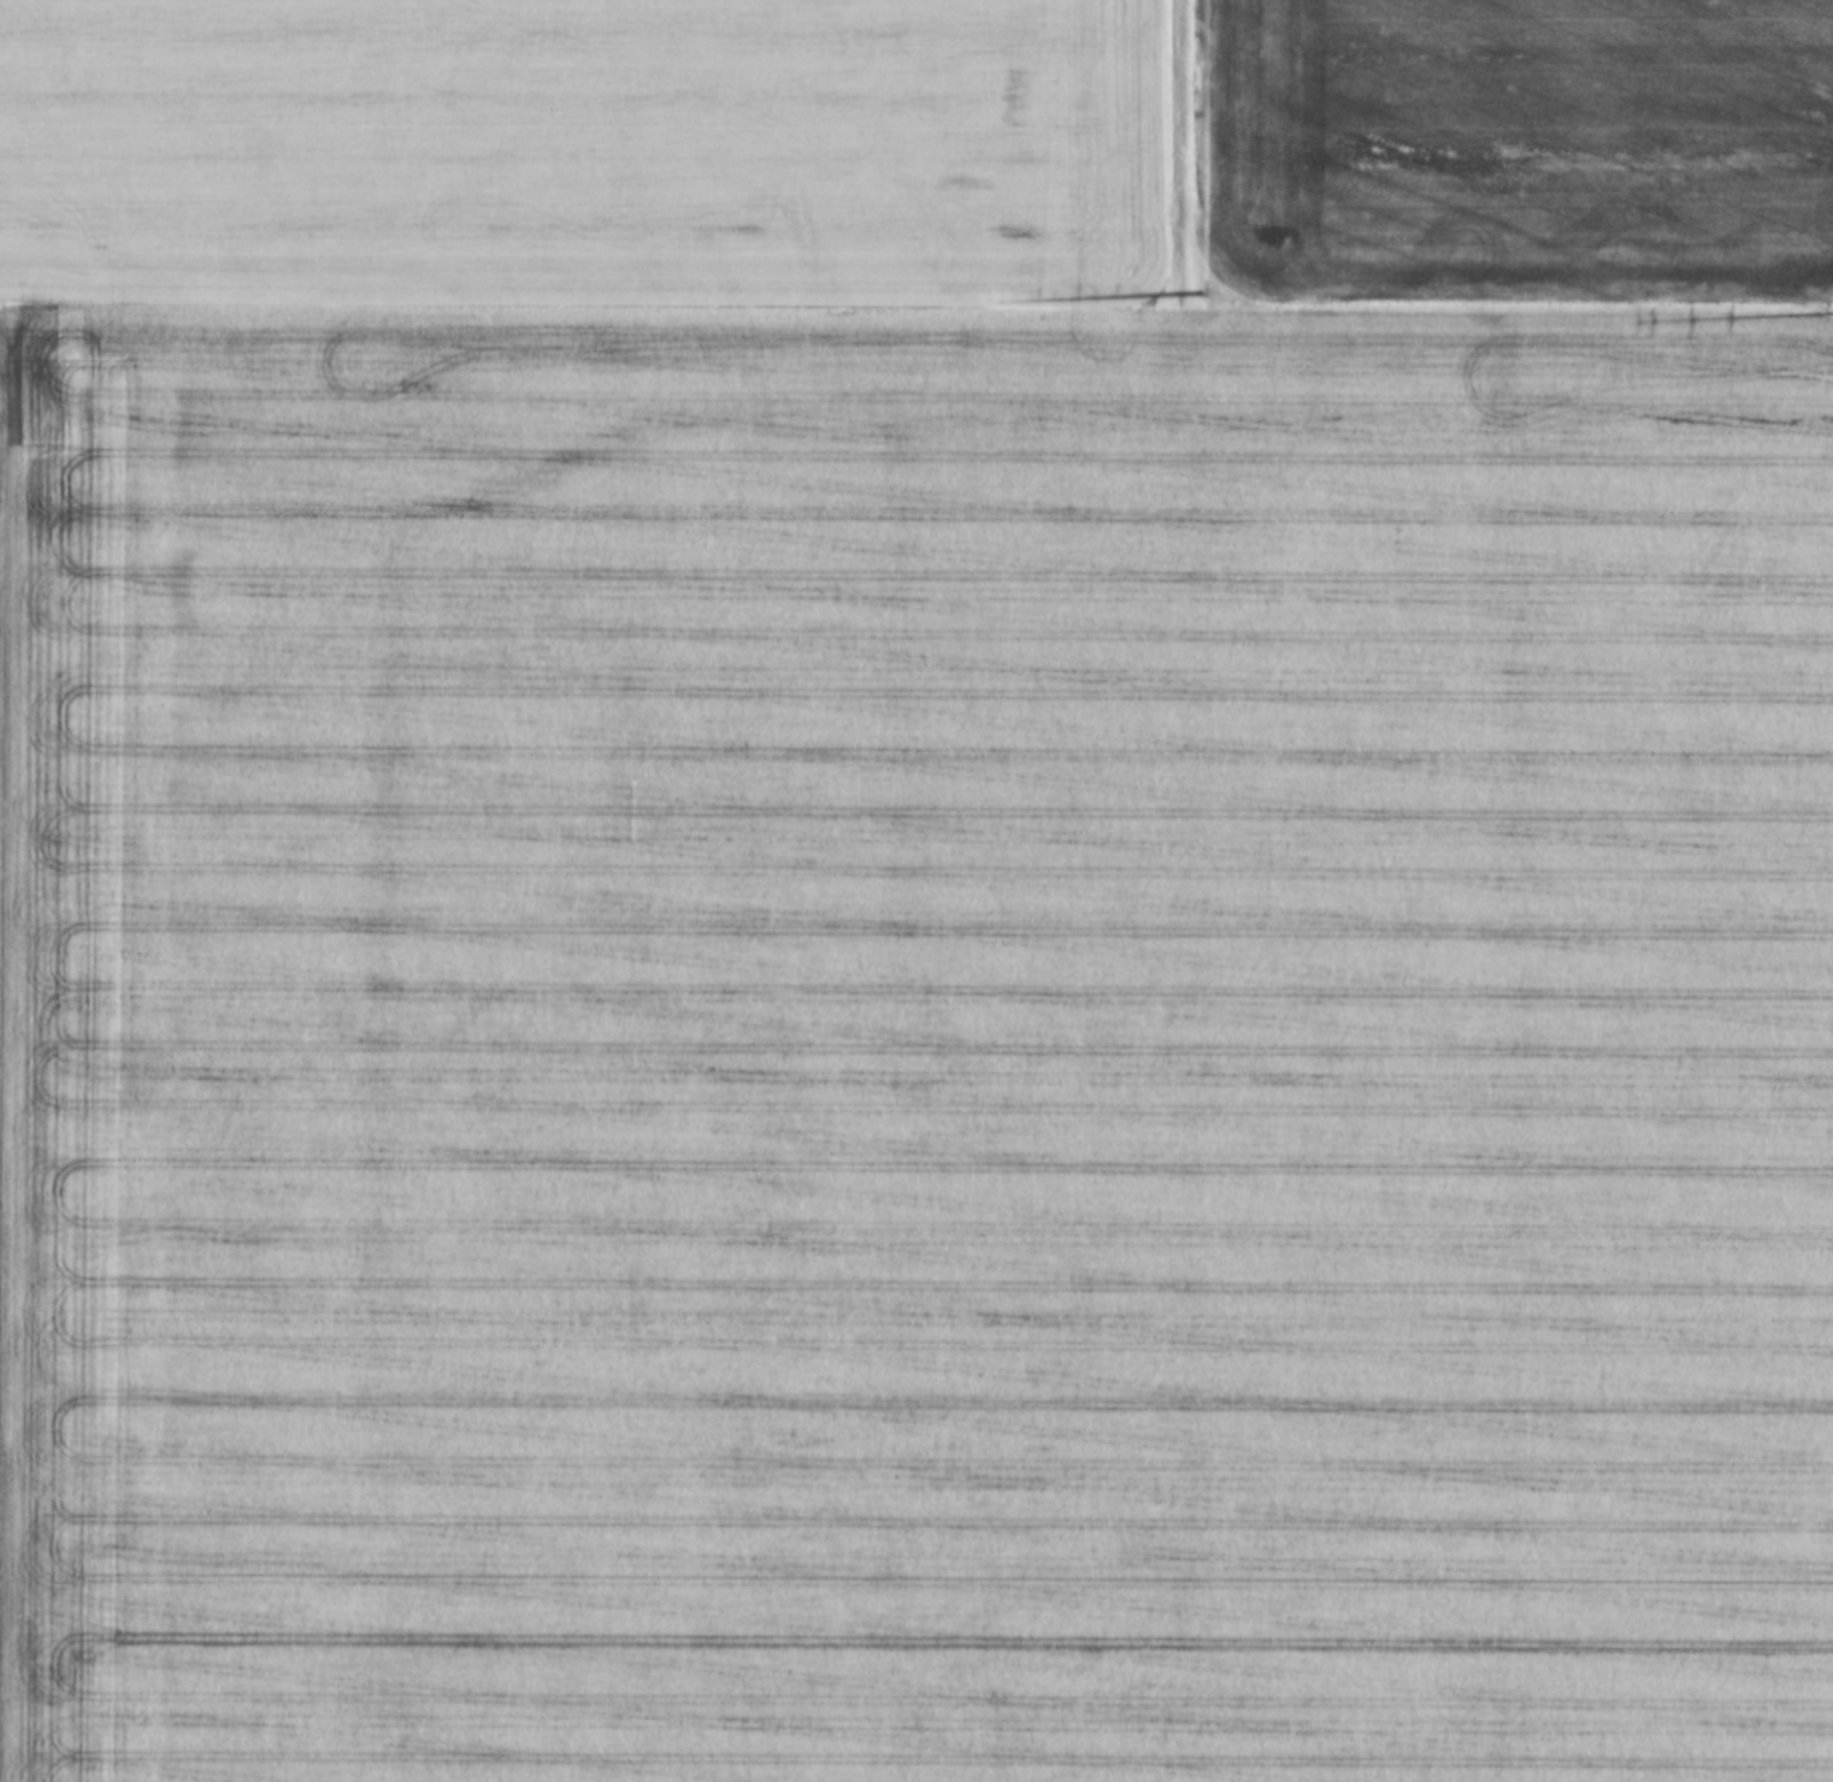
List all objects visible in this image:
power tower: (1212, 296)

